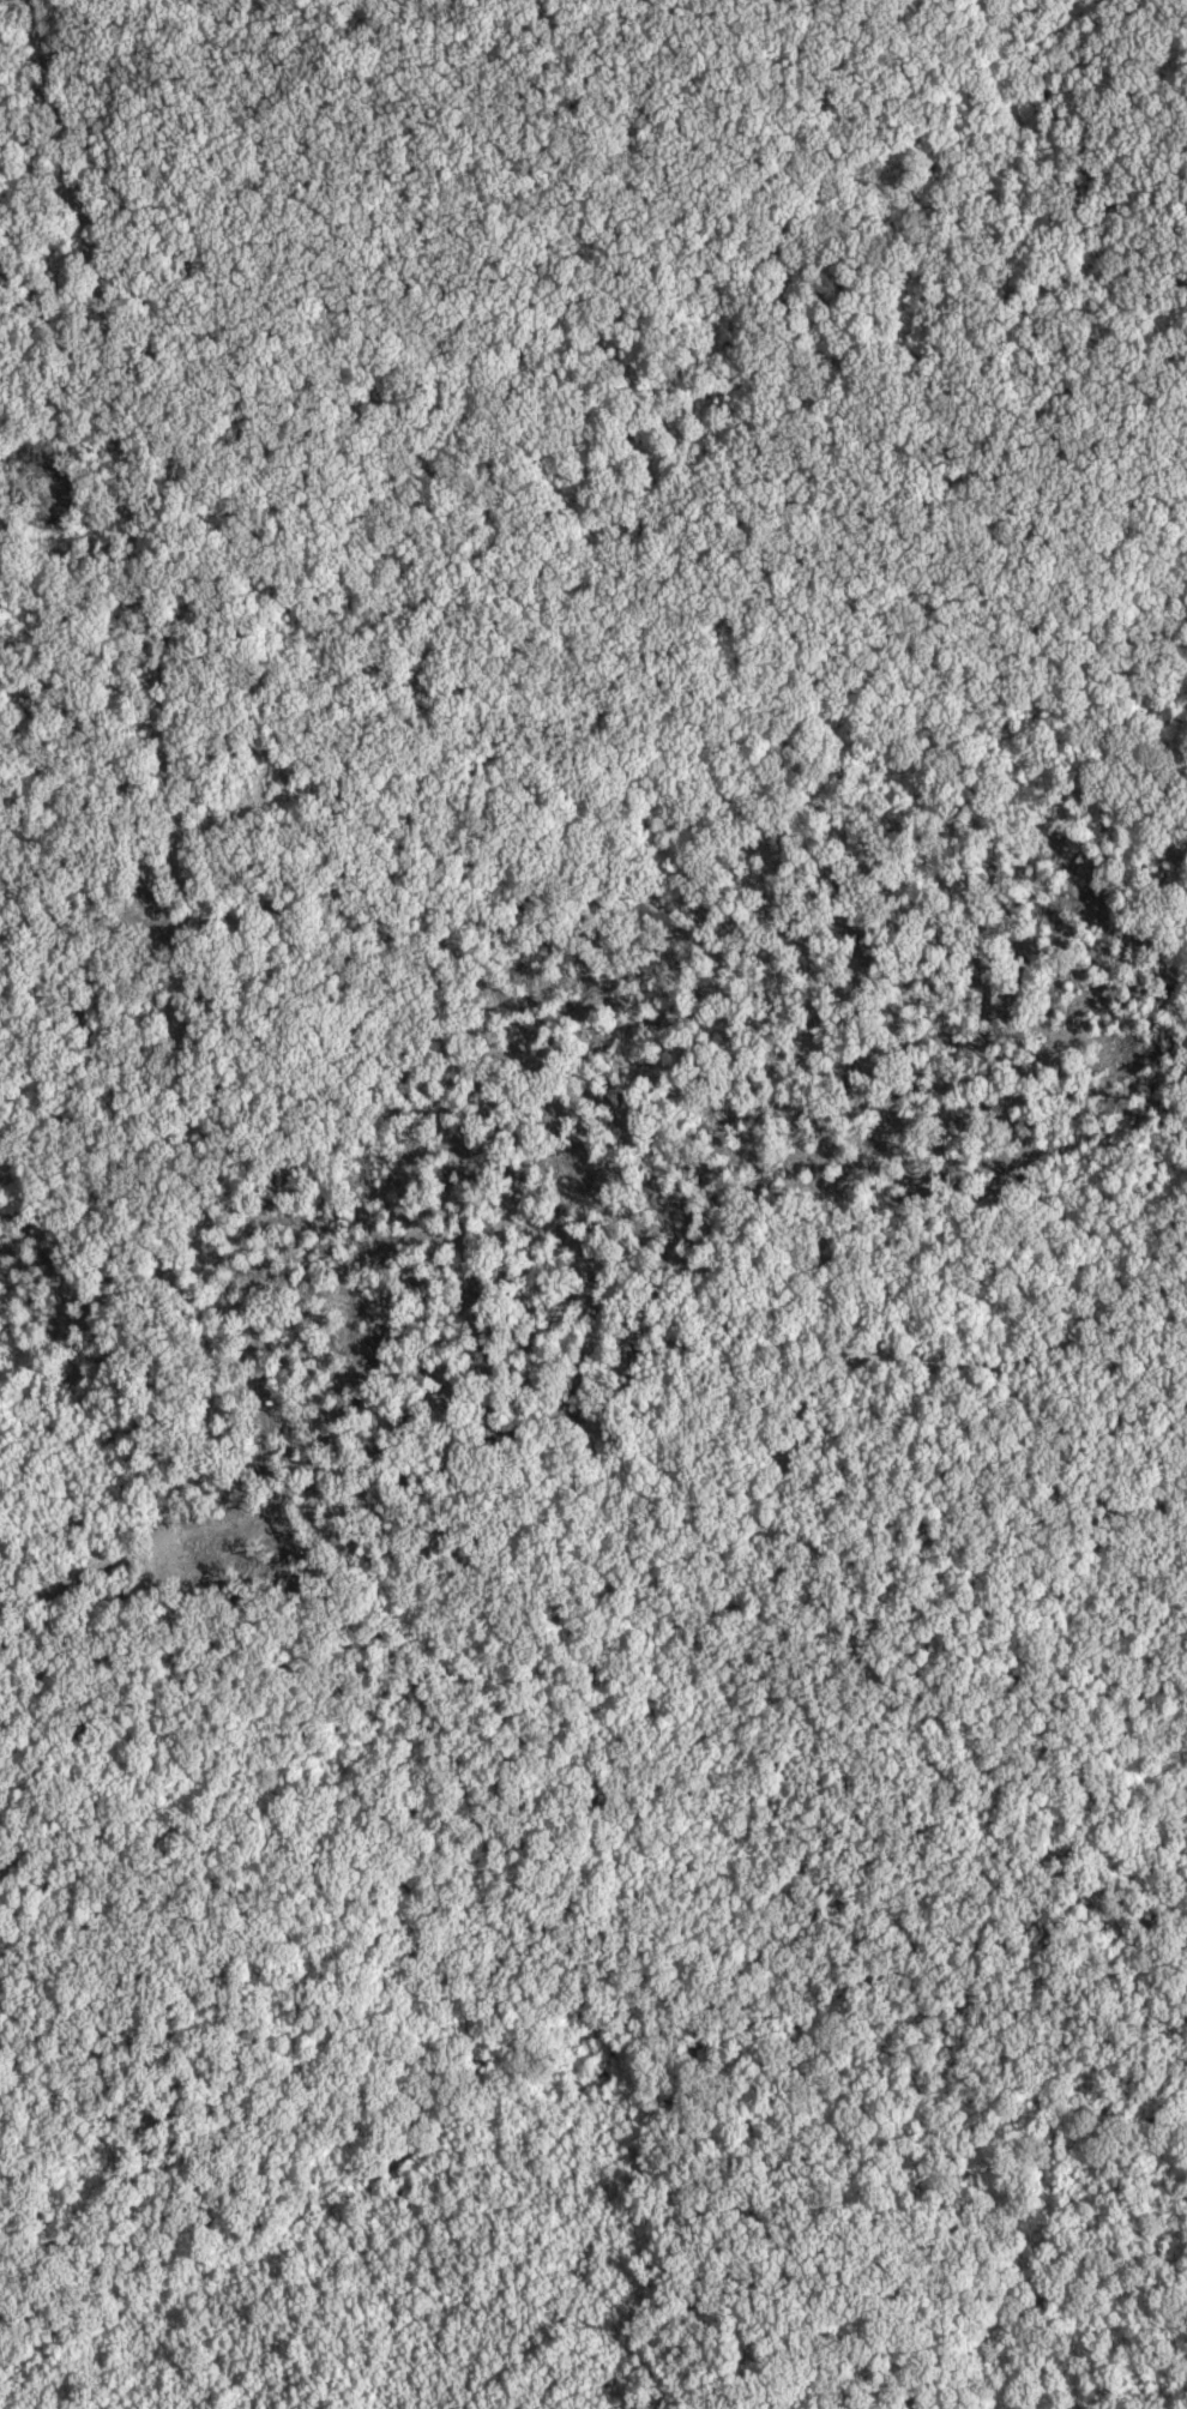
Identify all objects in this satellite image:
road: (171, 854)

